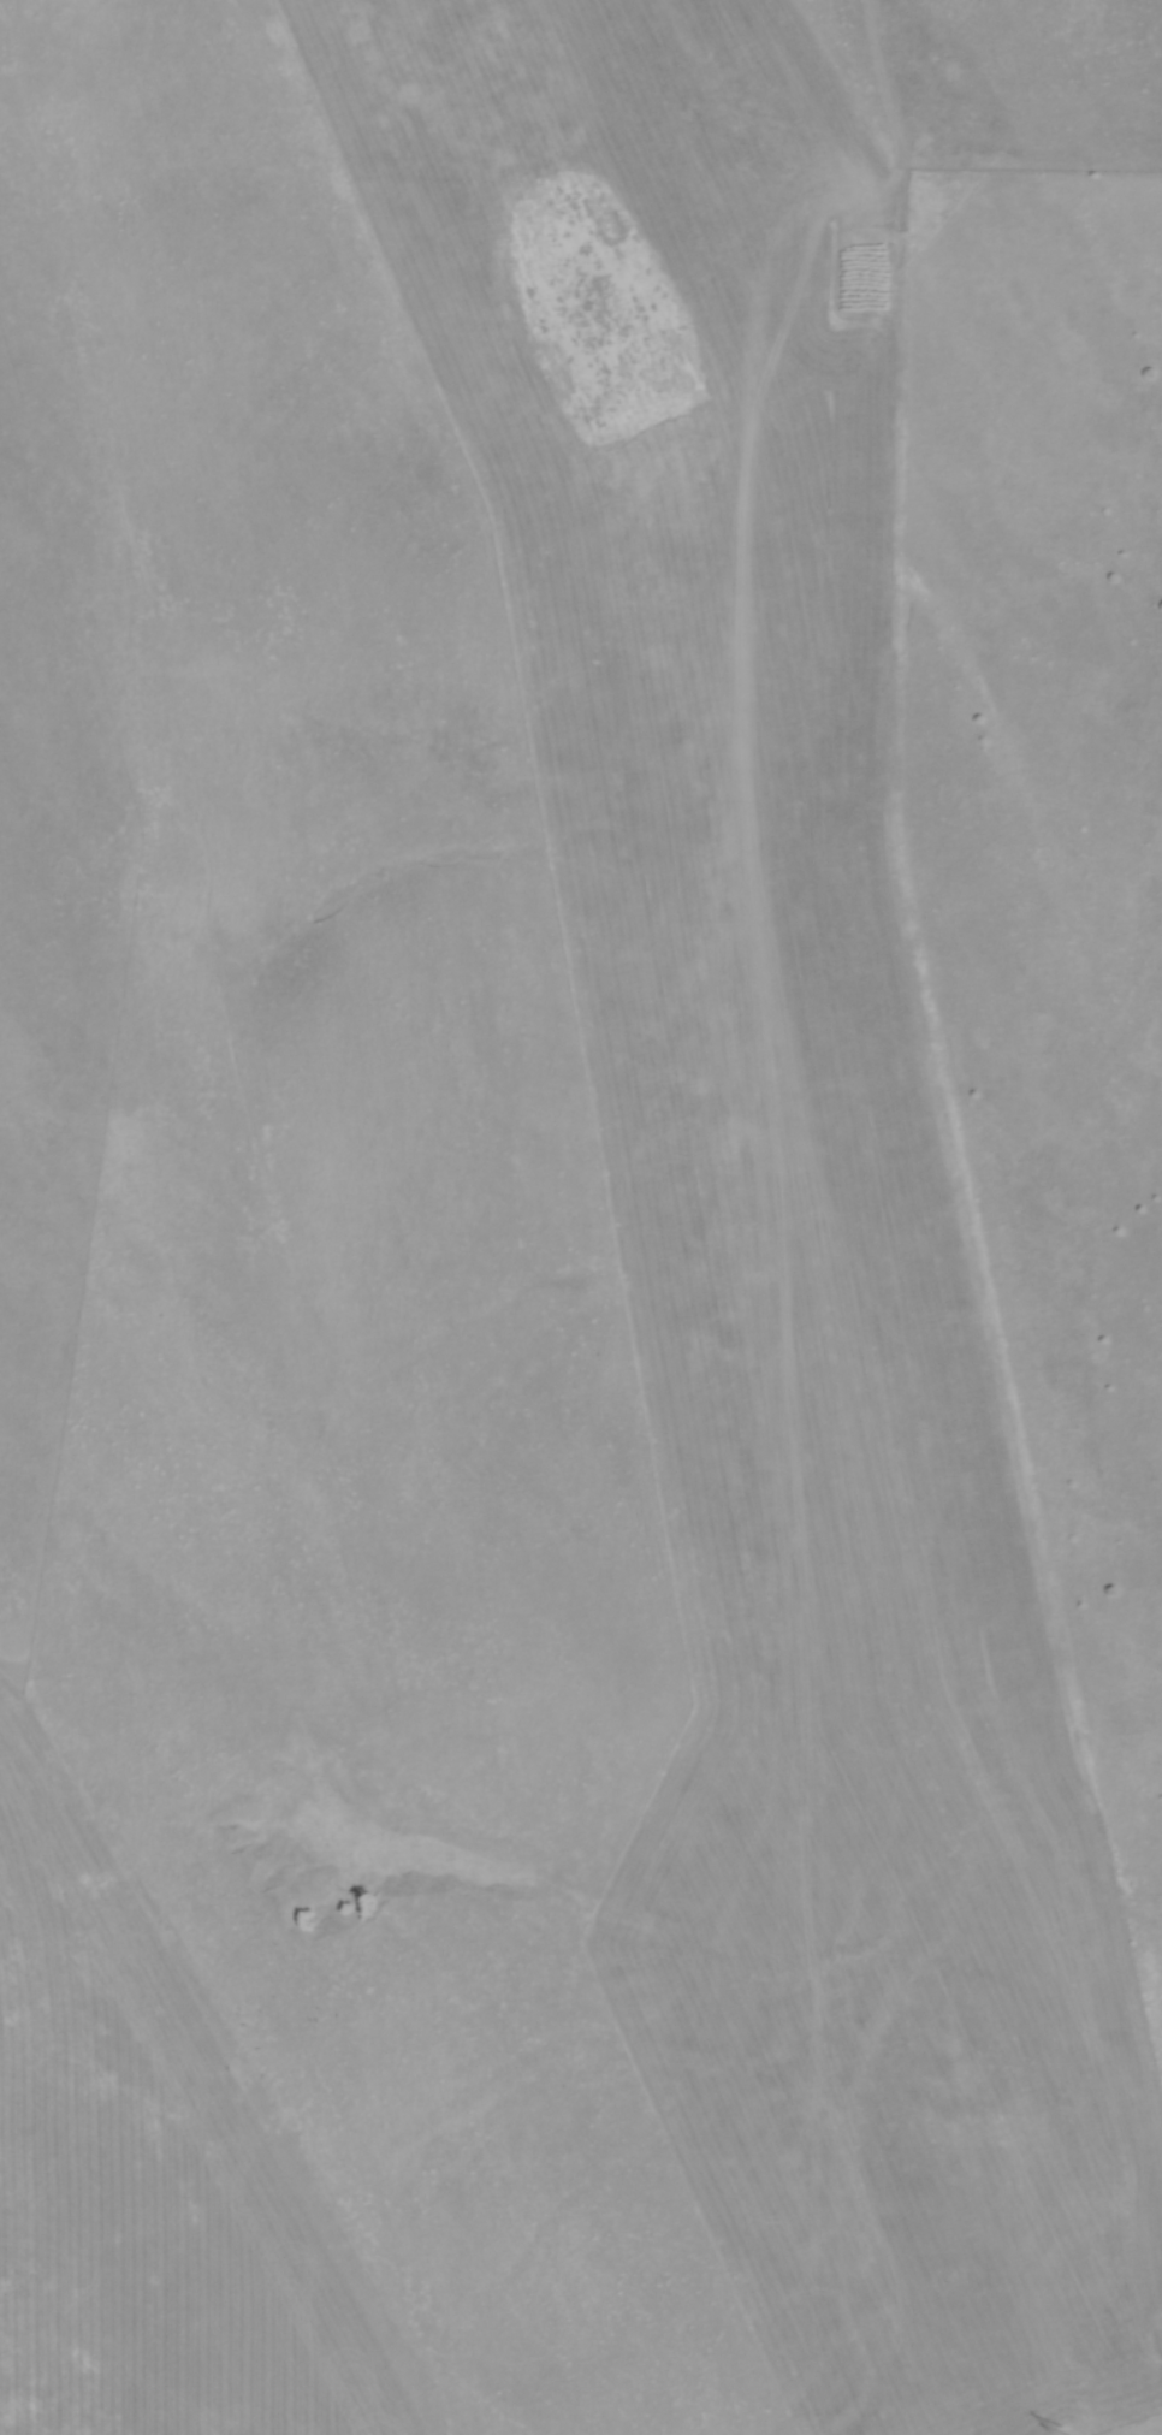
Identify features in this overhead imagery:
power tower: (1066, 2434)

